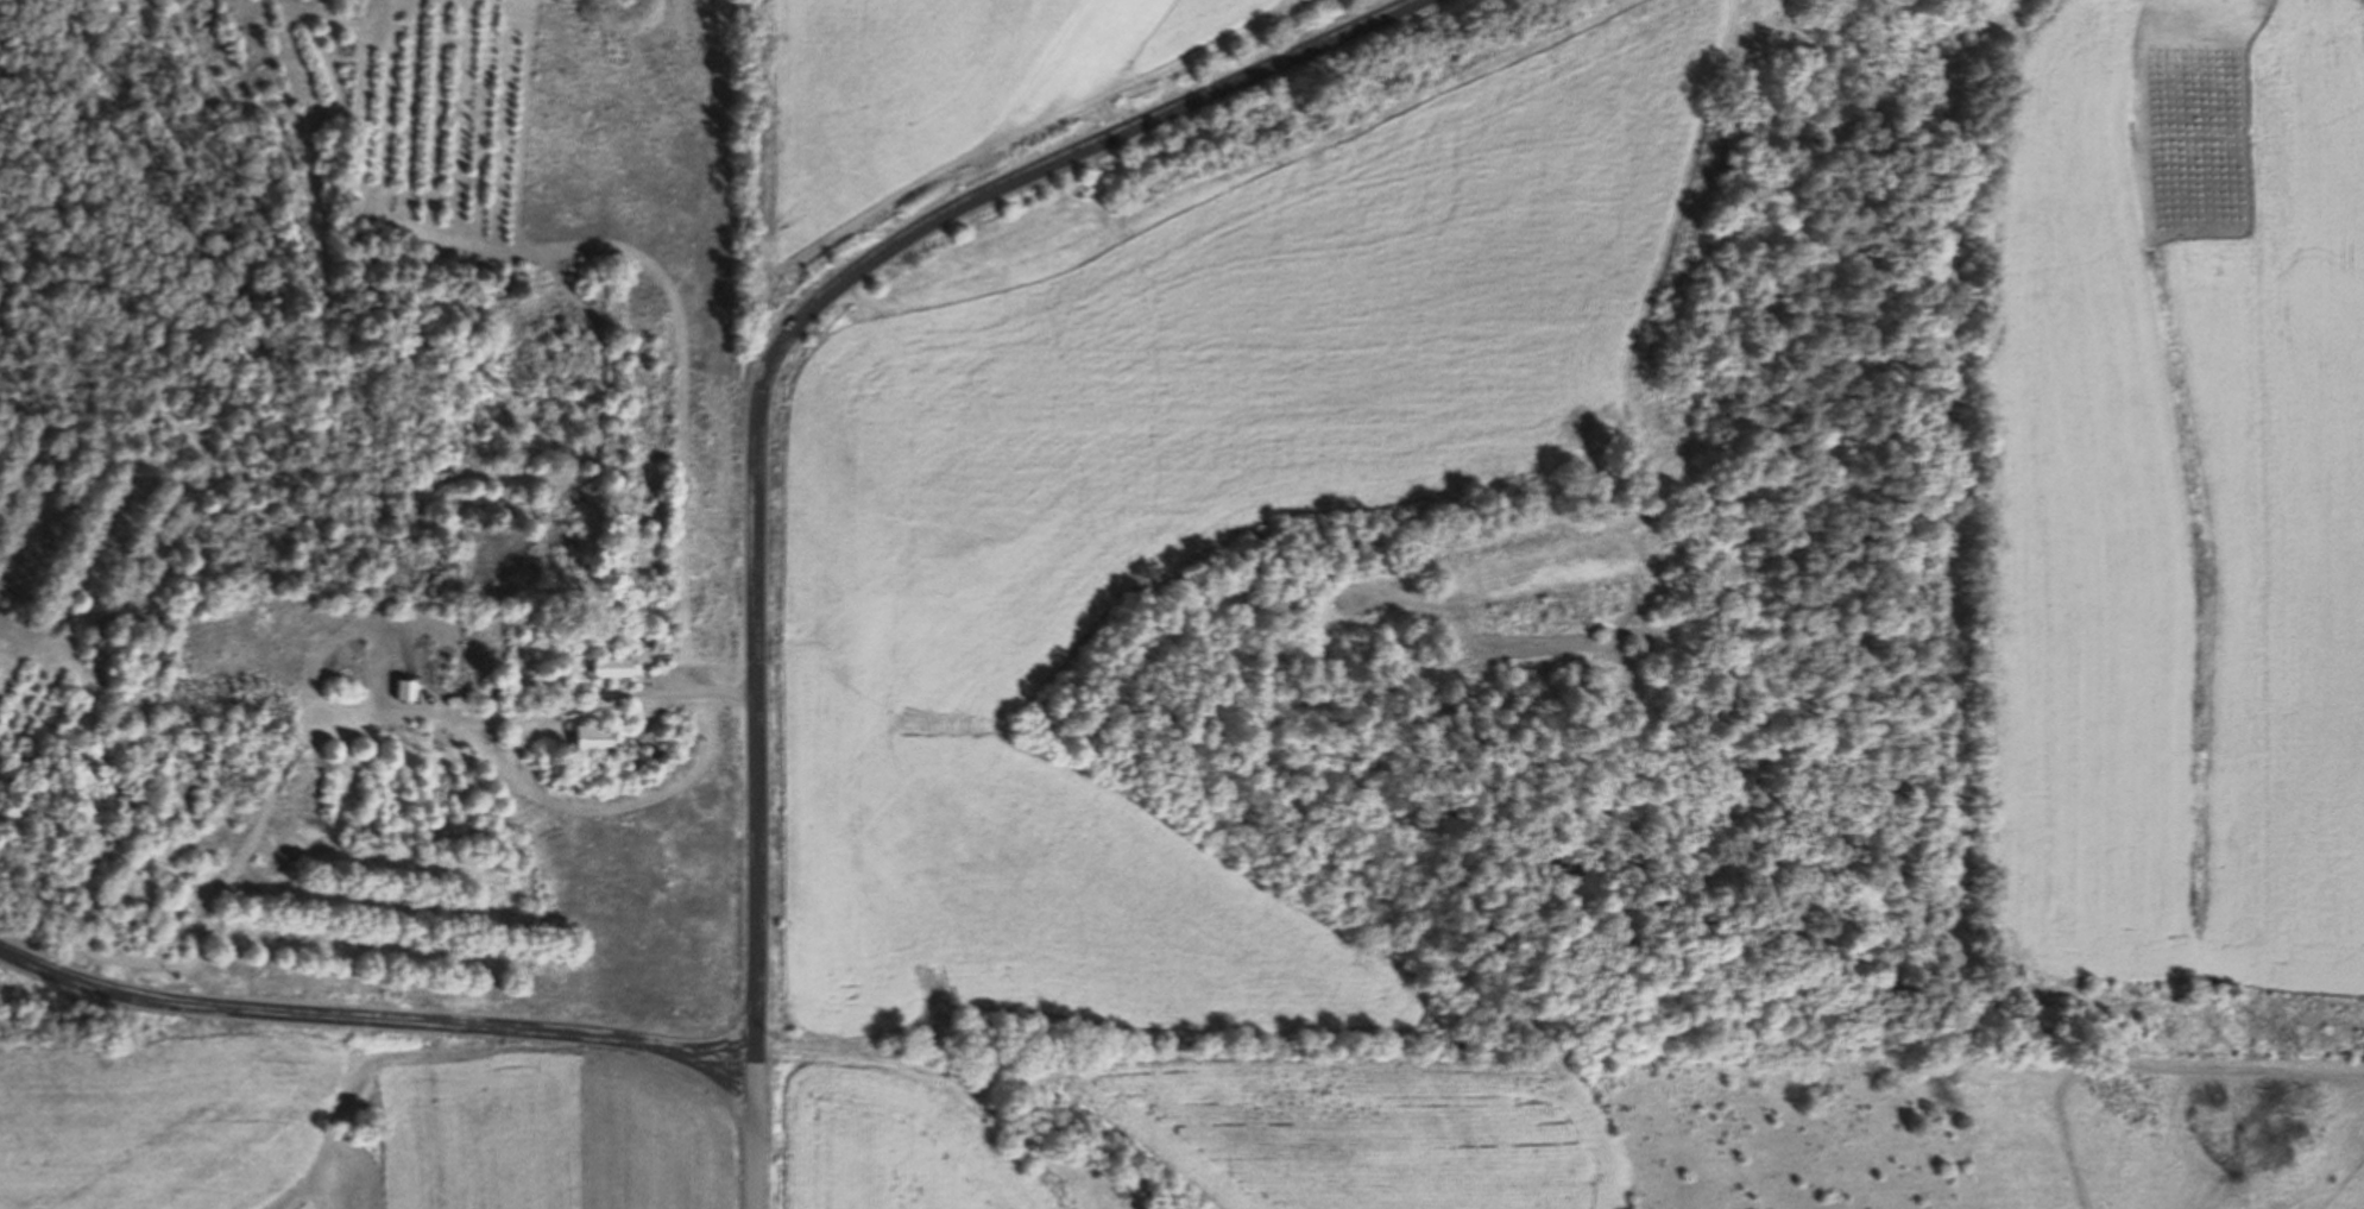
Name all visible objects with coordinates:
road: (2269, 2)
road: (756, 409)
building: (619, 668)
building: (497, 693)
building: (598, 738)
road: (376, 1012)

